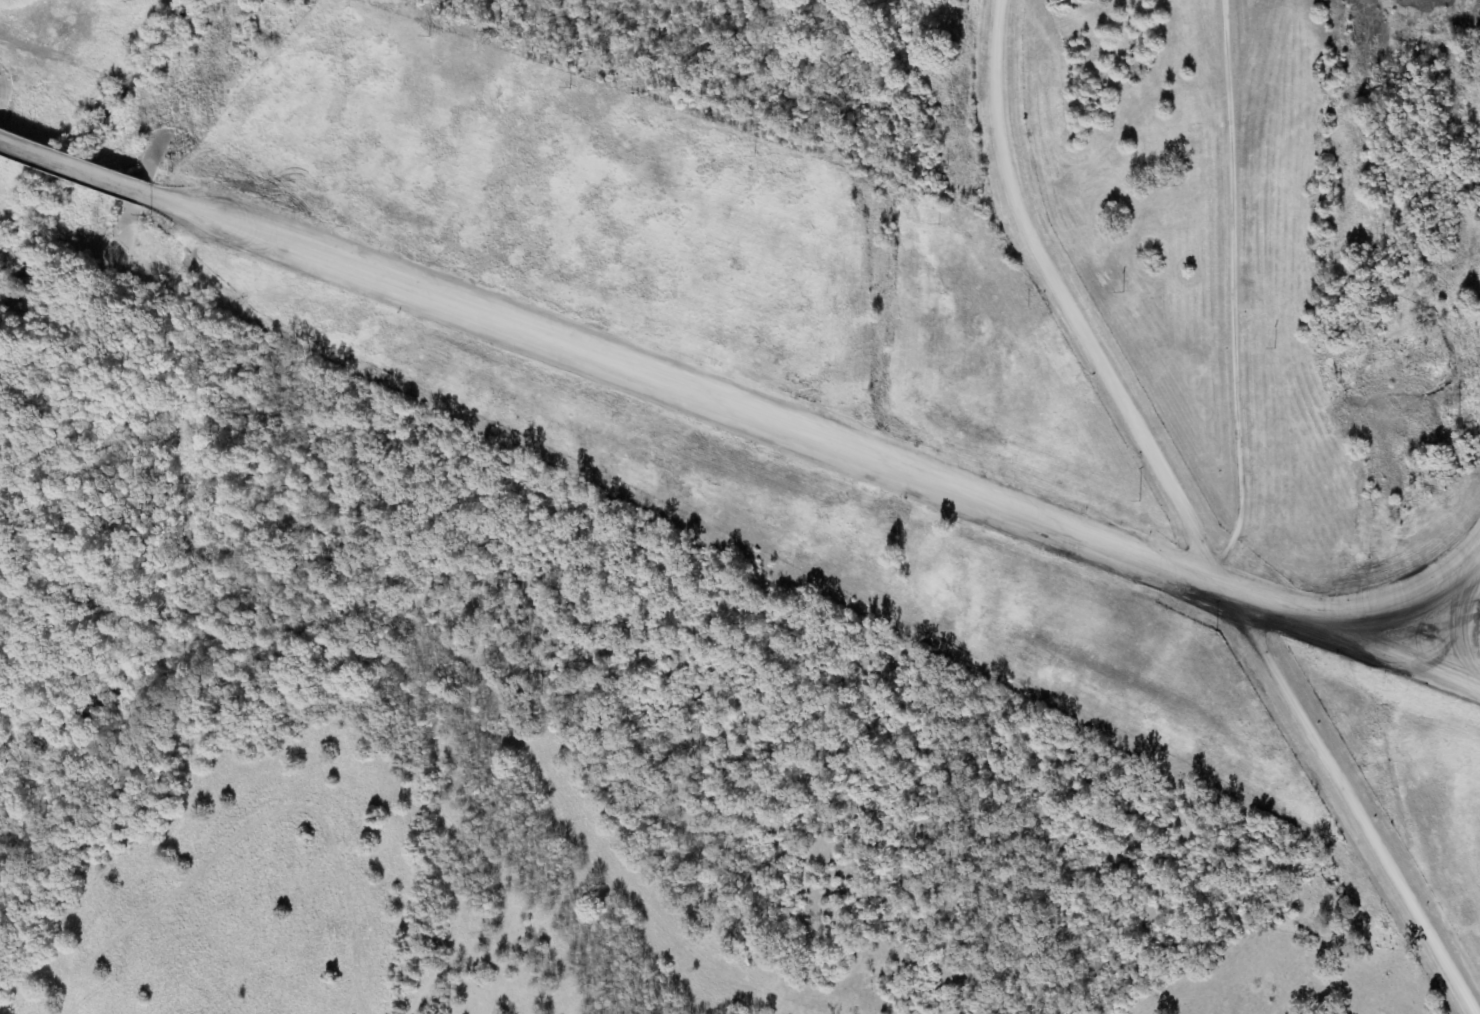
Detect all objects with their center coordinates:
road: (76, 169)
road: (1234, 286)
road: (816, 440)
road: (1189, 521)
road: (1458, 625)

